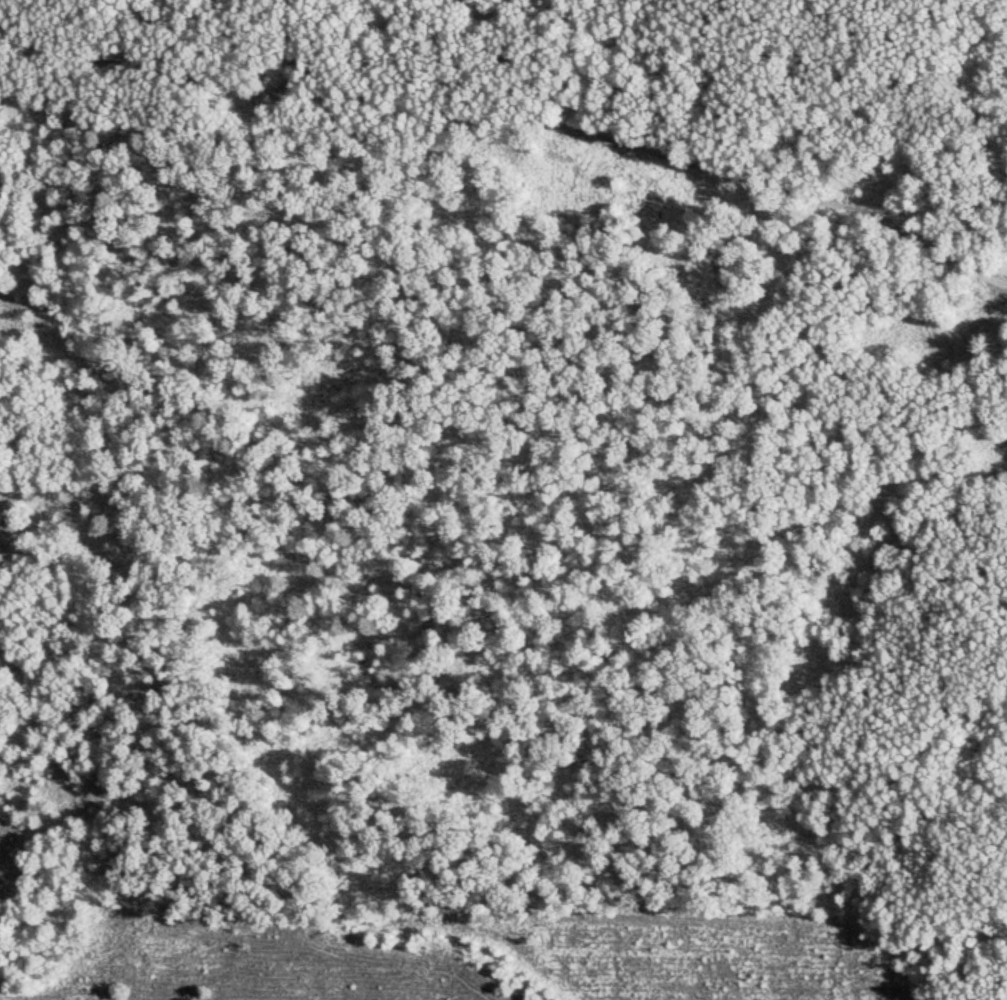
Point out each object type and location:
road: (186, 78)
road: (657, 151)

